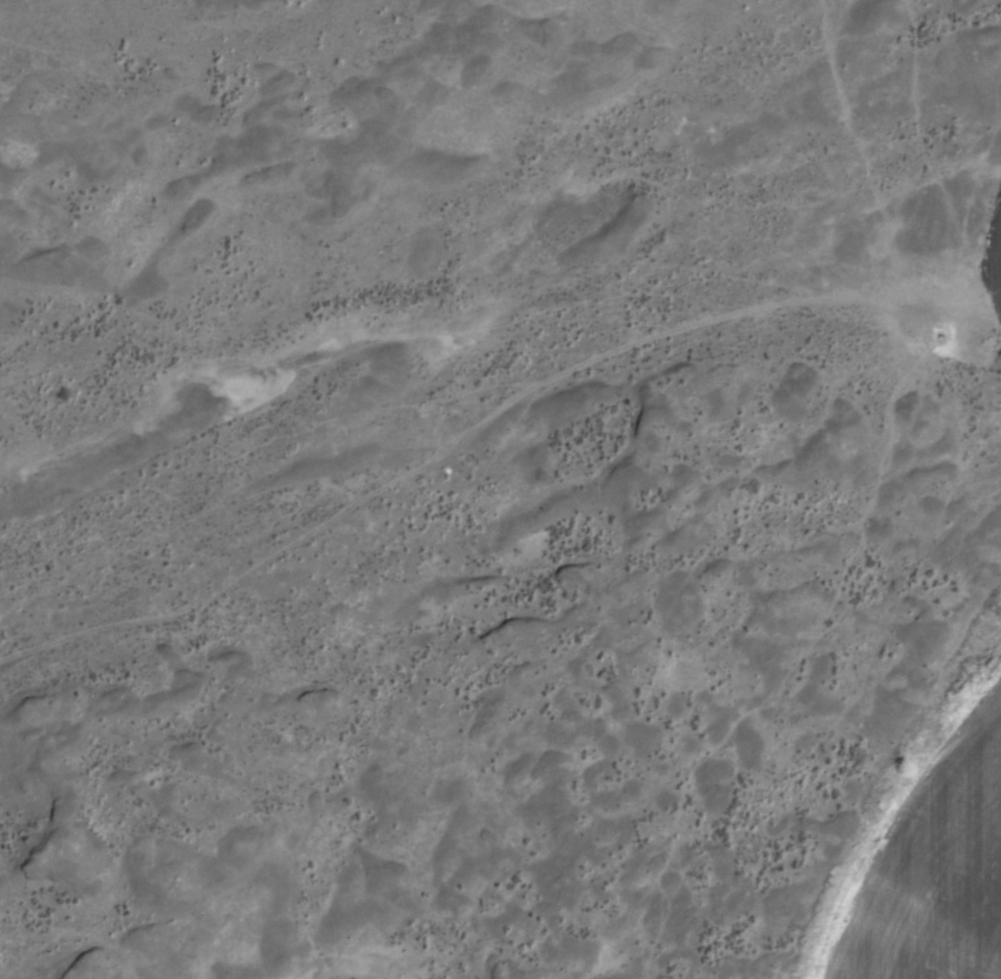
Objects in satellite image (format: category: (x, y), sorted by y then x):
road: (988, 257)

